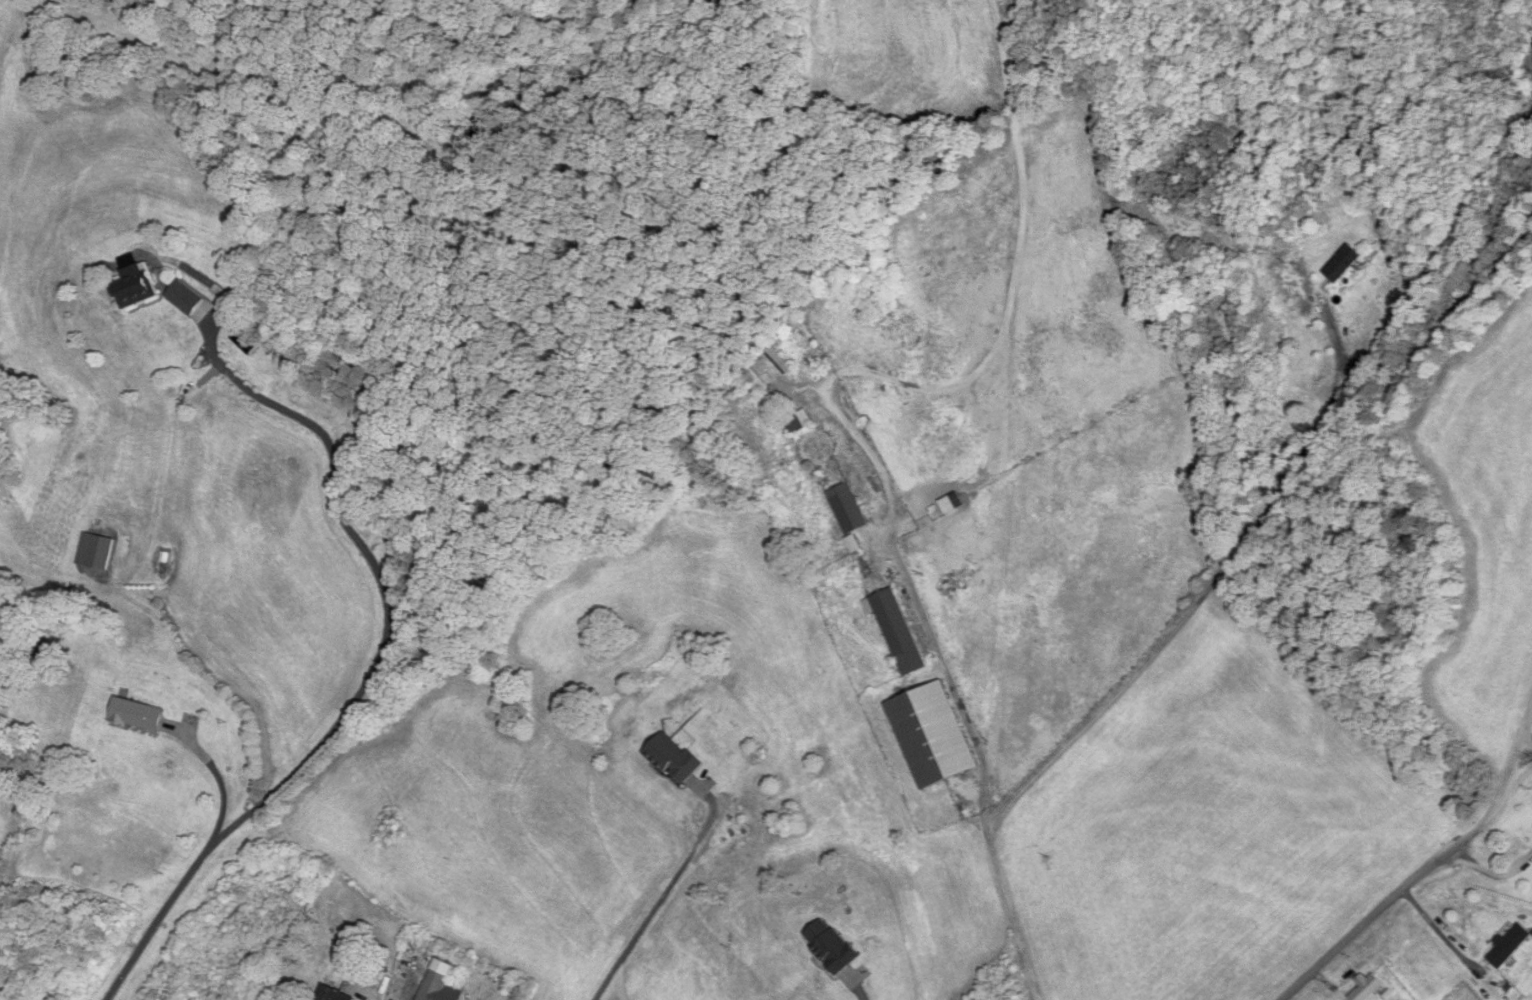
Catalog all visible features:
building: (1343, 263)
building: (135, 286)
building: (780, 360)
building: (755, 380)
building: (800, 422)
building: (952, 504)
building: (848, 509)
building: (96, 552)
building: (899, 633)
road: (1154, 653)
road: (376, 664)
building: (137, 715)
building: (933, 737)
building: (674, 760)
road: (1507, 773)
road: (218, 777)
road: (1504, 800)
road: (659, 904)
road: (1379, 911)
road: (1441, 932)
building: (1509, 946)
building: (831, 947)
building: (439, 983)
building: (1368, 989)
building: (332, 995)
road: (861, 997)

